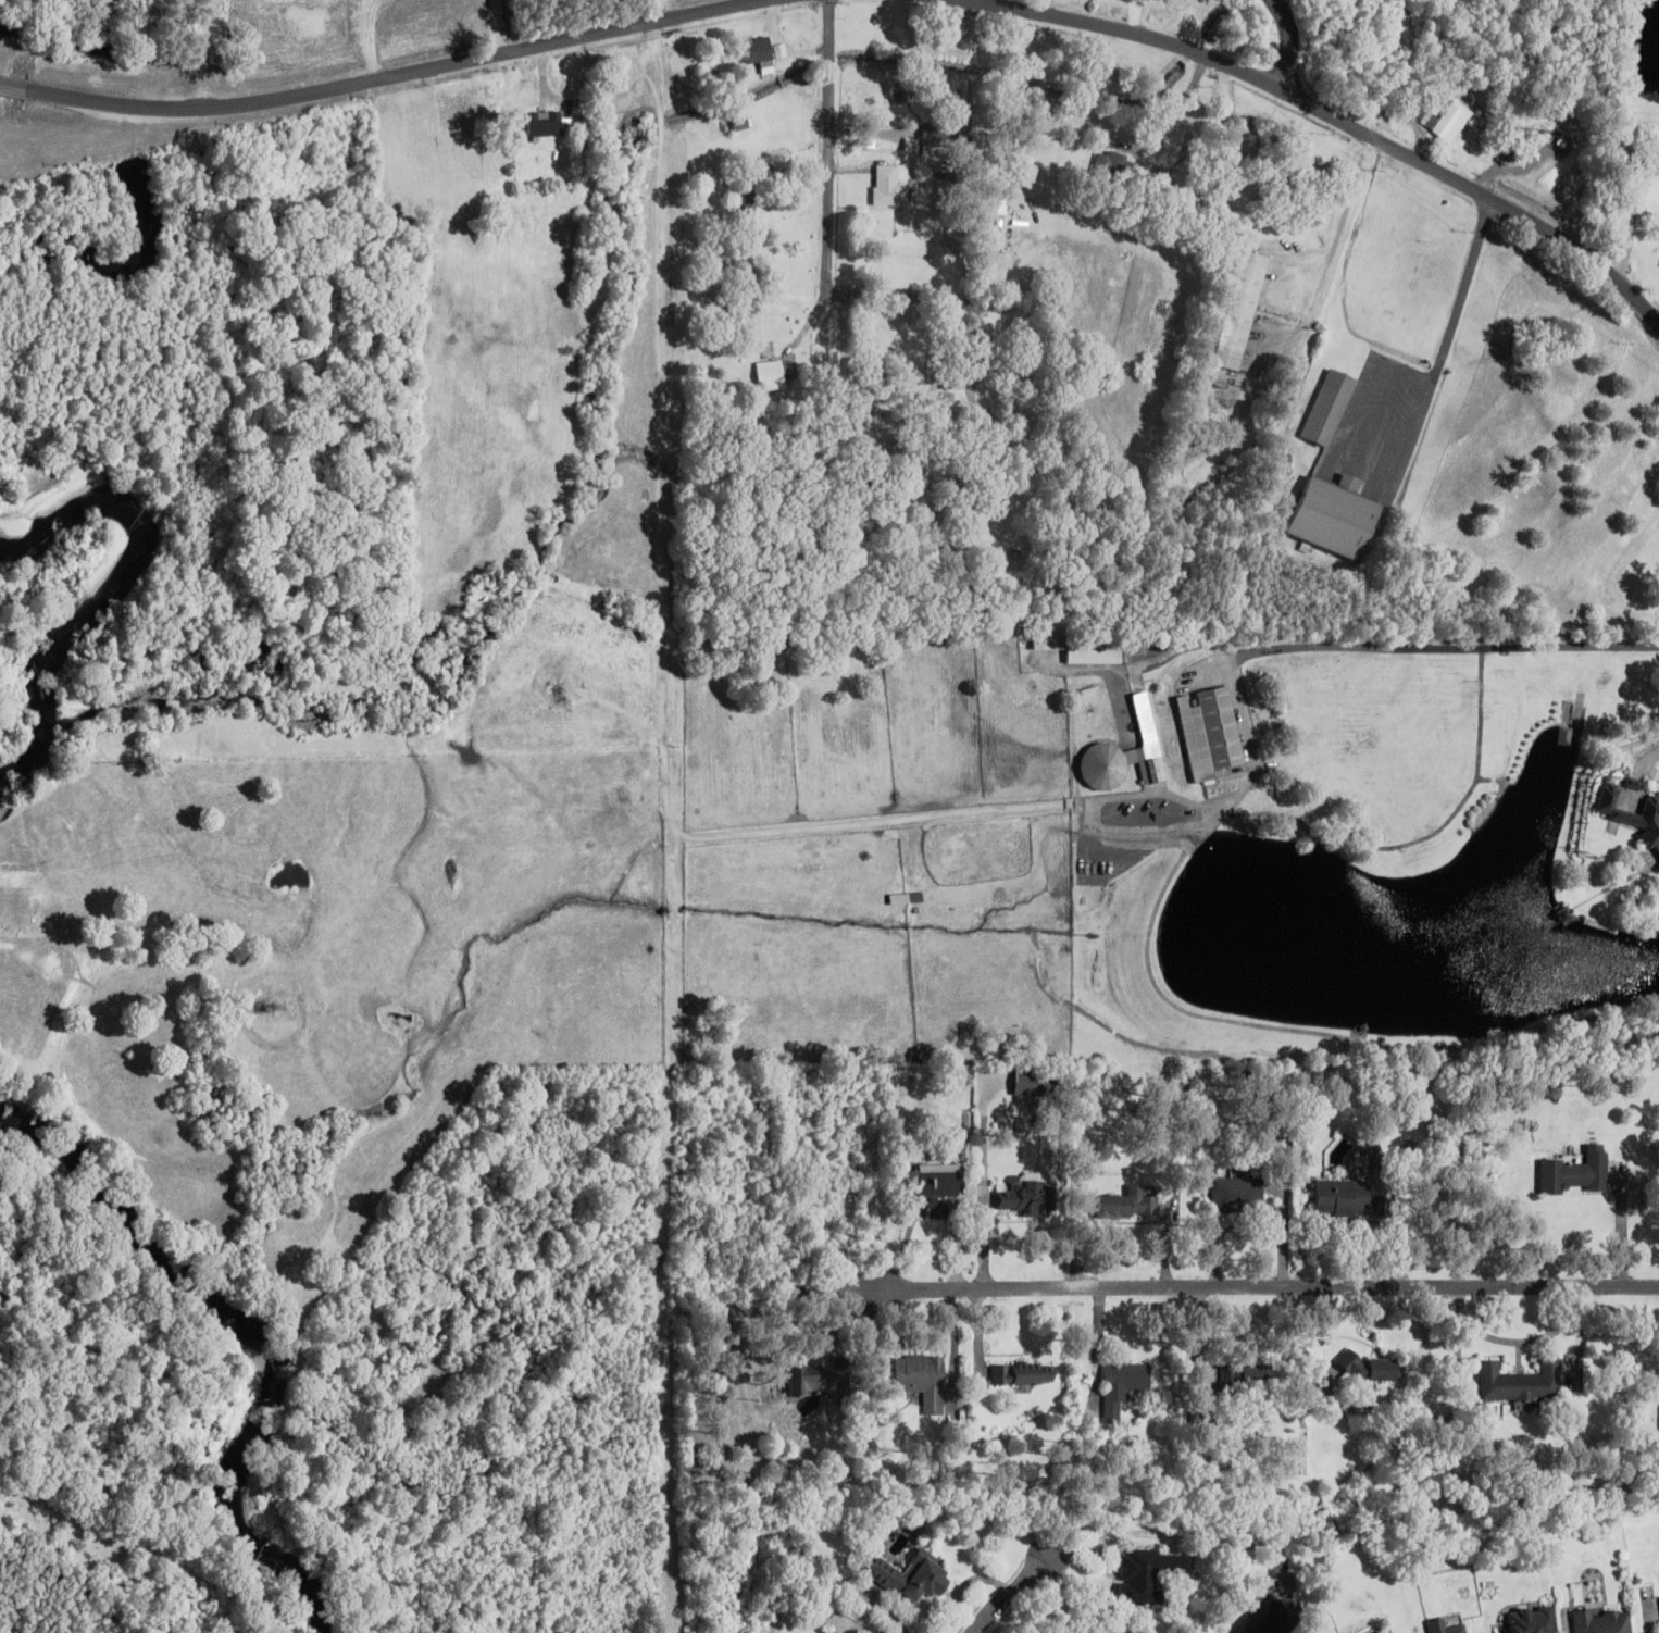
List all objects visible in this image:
building: (759, 53)
road: (409, 74)
road: (13, 85)
building: (1157, 117)
road: (1334, 120)
building: (1447, 120)
building: (548, 124)
building: (940, 137)
road: (831, 157)
building: (890, 185)
building: (751, 211)
road: (901, 297)
building: (1240, 310)
building: (938, 372)
building: (775, 374)
building: (1329, 407)
building: (1176, 465)
building: (1336, 515)
building: (866, 525)
river: (102, 588)
building: (1083, 647)
building: (259, 653)
building: (1210, 732)
building: (1127, 755)
building: (1633, 783)
building: (1631, 814)
building: (907, 898)
building: (1036, 1083)
building: (1577, 1173)
building: (934, 1185)
building: (1237, 1194)
building: (1028, 1196)
building: (1346, 1198)
building: (1127, 1204)
road: (1269, 1287)
river: (251, 1344)
building: (1370, 1368)
building: (1023, 1374)
building: (1230, 1375)
building: (1258, 1375)
building: (819, 1378)
building: (1602, 1378)
building: (923, 1379)
building: (1521, 1383)
building: (1124, 1387)
building: (1149, 1574)
building: (912, 1576)
road: (1010, 1593)
building: (1532, 1620)
building: (1602, 1621)
building: (1445, 1626)

